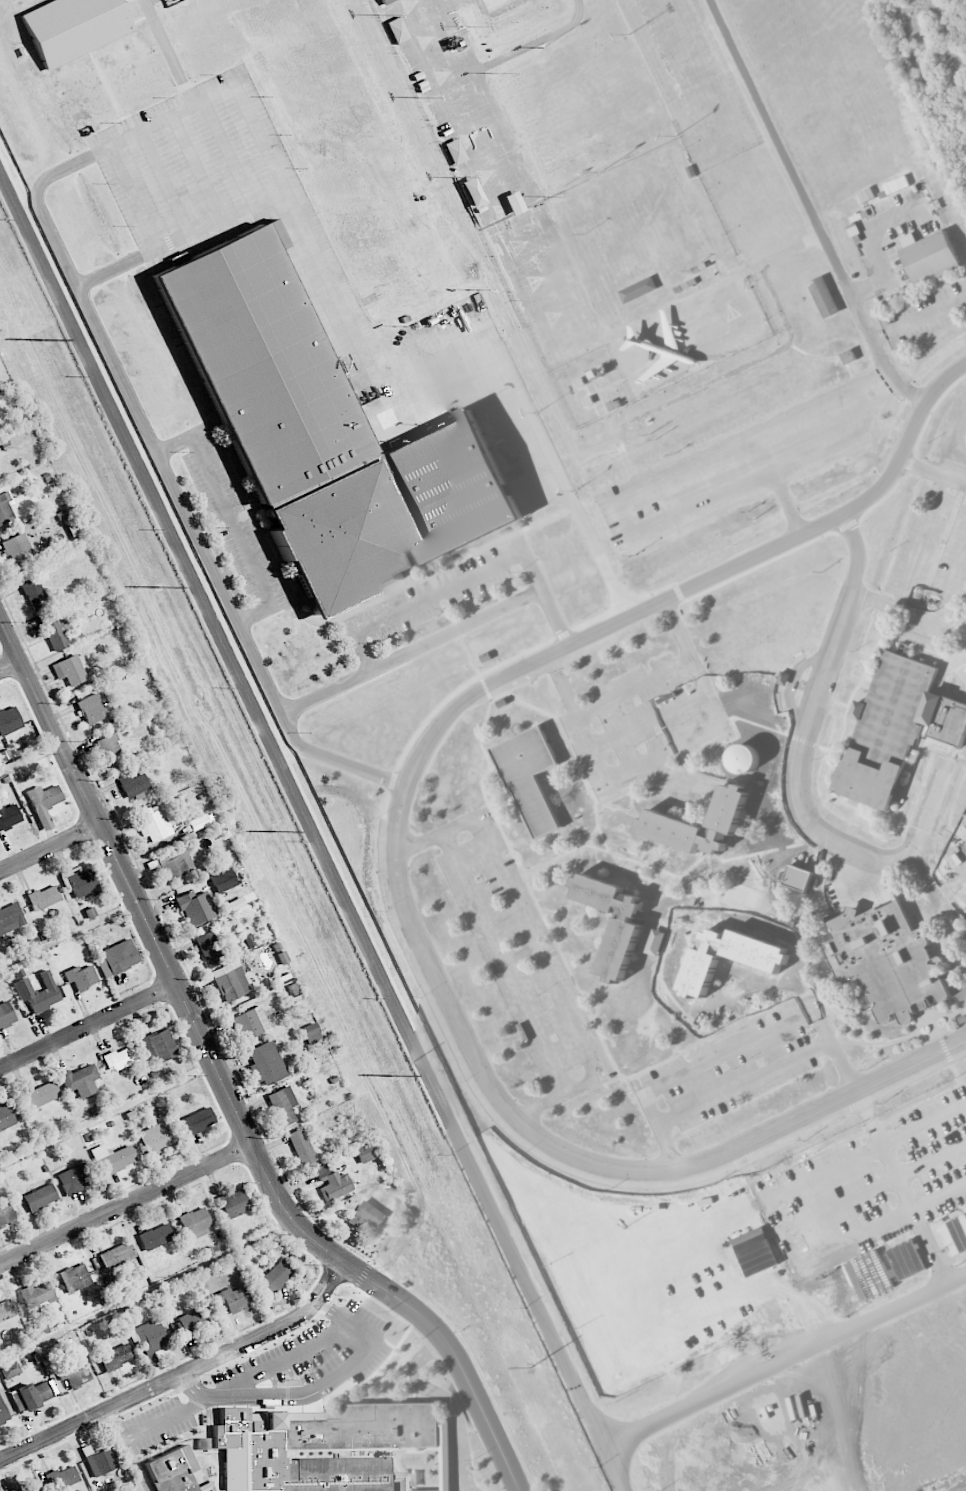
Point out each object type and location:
building: (385, 1)
building: (72, 27)
building: (396, 30)
road: (260, 137)
road: (229, 152)
building: (454, 152)
road: (196, 167)
parking lot: (197, 169)
road: (166, 182)
building: (471, 192)
building: (866, 195)
road: (133, 197)
building: (513, 203)
road: (808, 208)
building: (930, 258)
road: (109, 271)
building: (637, 290)
building: (823, 297)
road: (917, 318)
power tower: (43, 339)
building: (848, 356)
road: (945, 381)
building: (1, 393)
building: (325, 436)
road: (752, 439)
road: (175, 445)
road: (763, 453)
parking lot: (742, 461)
road: (932, 472)
road: (559, 473)
road: (760, 473)
road: (174, 490)
road: (786, 502)
building: (4, 510)
road: (620, 518)
parking lot: (233, 521)
road: (233, 521)
road: (924, 536)
parking lot: (935, 544)
building: (17, 549)
road: (954, 578)
power tower: (160, 586)
building: (33, 593)
parking lot: (438, 593)
road: (439, 594)
road: (545, 600)
road: (894, 608)
road: (256, 613)
road: (350, 614)
building: (55, 628)
road: (671, 632)
road: (460, 637)
road: (410, 651)
road: (364, 652)
road: (11, 665)
building: (69, 670)
road: (835, 701)
building: (91, 709)
building: (9, 720)
building: (895, 728)
road: (806, 729)
road: (781, 732)
road: (569, 746)
building: (111, 751)
road: (833, 757)
road: (677, 766)
building: (530, 778)
building: (132, 785)
road: (503, 786)
road: (355, 801)
building: (43, 803)
road: (504, 807)
building: (8, 816)
building: (662, 819)
building: (198, 822)
building: (153, 823)
power tower: (277, 831)
road: (434, 834)
road: (554, 845)
road: (51, 847)
road: (959, 859)
building: (177, 864)
building: (798, 878)
road: (395, 879)
building: (223, 880)
building: (80, 881)
building: (43, 897)
building: (961, 897)
building: (236, 903)
building: (190, 908)
building: (10, 918)
road: (543, 919)
road: (69, 933)
building: (248, 941)
building: (655, 942)
road: (538, 946)
building: (209, 949)
building: (619, 949)
parking lot: (520, 954)
building: (116, 958)
building: (886, 960)
road: (504, 962)
building: (764, 963)
building: (81, 977)
building: (230, 981)
building: (38, 992)
building: (6, 1015)
building: (961, 1019)
building: (250, 1023)
road: (89, 1025)
building: (311, 1033)
building: (159, 1046)
building: (120, 1058)
building: (266, 1063)
power tower: (392, 1075)
building: (79, 1080)
road: (749, 1080)
road: (223, 1081)
building: (41, 1095)
road: (556, 1097)
building: (282, 1105)
building: (6, 1116)
building: (197, 1121)
building: (155, 1138)
building: (301, 1147)
road: (884, 1151)
building: (364, 1153)
road: (865, 1153)
building: (112, 1159)
building: (75, 1178)
building: (333, 1185)
parking lot: (868, 1187)
road: (873, 1189)
building: (39, 1197)
building: (234, 1203)
road: (126, 1205)
building: (6, 1214)
building: (367, 1215)
building: (195, 1222)
building: (155, 1237)
road: (823, 1252)
building: (116, 1255)
road: (775, 1270)
building: (275, 1276)
building: (74, 1278)
building: (779, 1285)
building: (37, 1297)
building: (232, 1299)
building: (6, 1310)
building: (194, 1319)
building: (148, 1337)
building: (115, 1356)
power tower: (531, 1367)
building: (74, 1375)
road: (182, 1375)
road: (316, 1390)
building: (31, 1395)
road: (450, 1400)
building: (3, 1413)
road: (166, 1419)
road: (114, 1428)
building: (331, 1450)
building: (99, 1461)
building: (174, 1472)
building: (63, 1477)
building: (26, 1487)

